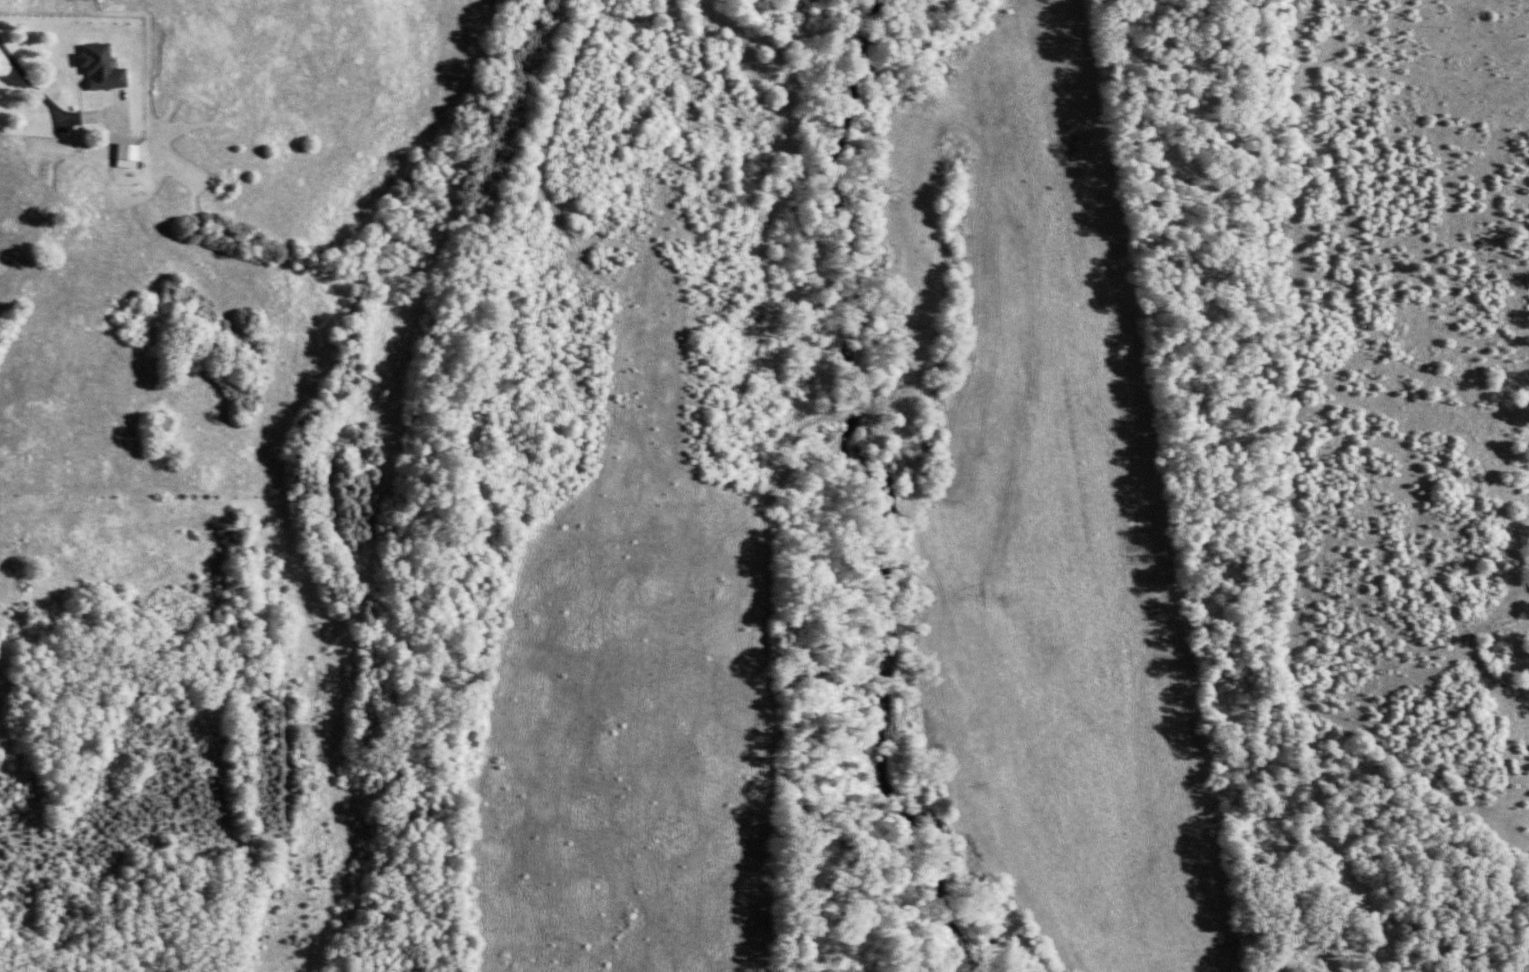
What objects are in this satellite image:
building: (107, 65)
building: (133, 153)
road: (1292, 493)

